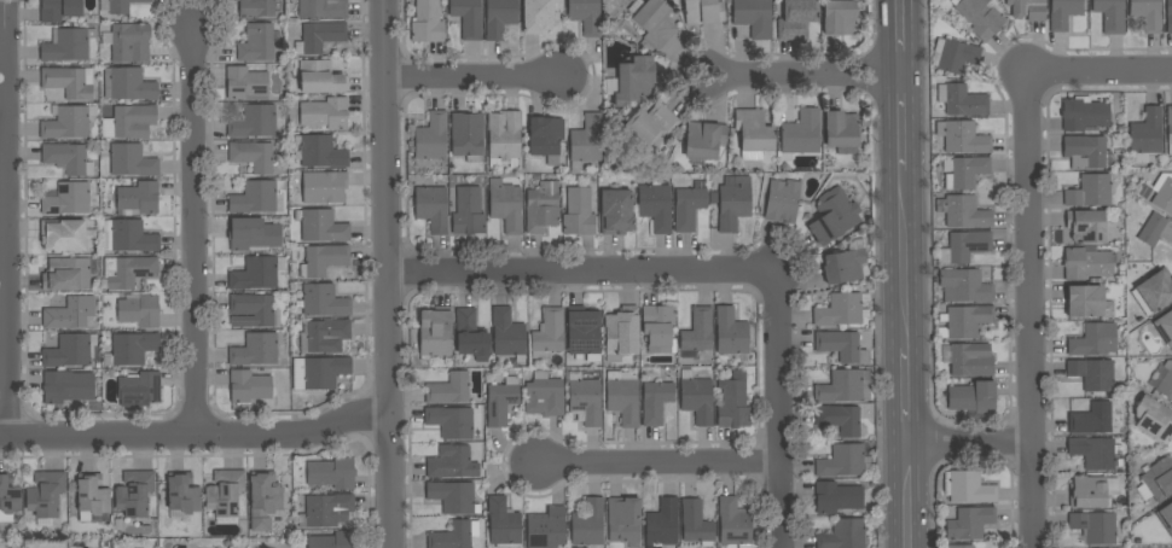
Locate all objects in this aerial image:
building: (121, 6)
building: (257, 7)
building: (323, 8)
building: (1027, 8)
building: (59, 10)
building: (702, 11)
building: (1063, 13)
building: (536, 14)
building: (1147, 14)
building: (586, 16)
building: (1110, 16)
building: (499, 17)
building: (753, 17)
building: (839, 17)
building: (980, 17)
building: (1168, 17)
building: (468, 18)
building: (796, 18)
building: (652, 21)
building: (427, 22)
building: (319, 36)
road: (895, 37)
building: (130, 42)
building: (256, 43)
building: (68, 45)
building: (953, 56)
road: (1100, 72)
road: (800, 76)
building: (320, 77)
road: (474, 78)
building: (633, 80)
building: (69, 82)
building: (246, 83)
building: (130, 84)
building: (962, 100)
building: (324, 113)
building: (1084, 113)
building: (129, 122)
building: (255, 122)
road: (899, 122)
building: (66, 123)
building: (650, 124)
building: (1168, 128)
building: (841, 132)
building: (753, 134)
building: (800, 134)
building: (466, 135)
building: (504, 135)
building: (545, 136)
building: (962, 136)
building: (1145, 136)
building: (431, 138)
building: (703, 140)
building: (586, 141)
building: (1085, 151)
building: (319, 152)
building: (253, 156)
building: (68, 158)
building: (129, 161)
building: (965, 173)
building: (326, 186)
building: (1090, 191)
building: (1159, 192)
building: (256, 197)
building: (68, 198)
building: (138, 199)
building: (781, 199)
building: (733, 202)
building: (505, 205)
building: (541, 206)
building: (655, 206)
building: (689, 206)
building: (431, 209)
building: (963, 211)
building: (468, 212)
building: (579, 212)
building: (616, 212)
building: (834, 216)
road: (4, 218)
building: (321, 226)
building: (1085, 226)
road: (193, 229)
building: (1155, 231)
building: (63, 235)
building: (253, 235)
building: (128, 237)
building: (964, 246)
road: (903, 258)
building: (323, 260)
building: (1086, 263)
building: (845, 264)
building: (132, 272)
building: (257, 273)
road: (385, 273)
road: (581, 273)
building: (66, 274)
building: (964, 286)
building: (1153, 292)
building: (324, 301)
building: (1086, 302)
building: (138, 309)
building: (842, 309)
road: (1029, 310)
building: (254, 311)
building: (70, 313)
building: (965, 321)
building: (1165, 327)
building: (658, 328)
building: (697, 331)
building: (435, 332)
building: (730, 332)
building: (547, 333)
building: (584, 333)
building: (621, 333)
building: (507, 334)
building: (326, 336)
building: (470, 336)
building: (1092, 340)
building: (841, 345)
building: (130, 349)
building: (255, 350)
building: (70, 351)
building: (970, 360)
building: (319, 372)
building: (1092, 373)
building: (1166, 380)
building: (66, 386)
building: (845, 386)
building: (140, 387)
building: (248, 387)
building: (449, 389)
road: (1016, 391)
building: (544, 396)
road: (906, 396)
building: (622, 397)
building: (696, 397)
building: (971, 397)
building: (585, 400)
building: (501, 401)
building: (656, 402)
building: (733, 402)
road: (778, 408)
building: (840, 419)
building: (1153, 419)
building: (1091, 420)
building: (451, 421)
road: (195, 436)
road: (970, 442)
building: (1092, 451)
road: (976, 457)
building: (843, 461)
building: (451, 462)
road: (656, 465)
building: (332, 473)
building: (1159, 479)
building: (968, 488)
building: (1090, 491)
building: (134, 492)
building: (225, 492)
building: (45, 494)
building: (92, 494)
building: (182, 494)
road: (909, 495)
building: (8, 497)
building: (453, 497)
building: (837, 497)
building: (263, 499)
building: (326, 511)
building: (1166, 518)
building: (623, 519)
building: (588, 523)
building: (696, 523)
building: (732, 523)
building: (969, 523)
building: (503, 524)
building: (662, 524)
building: (1095, 527)
building: (547, 529)
building: (454, 535)
building: (843, 535)
building: (332, 541)
building: (958, 547)

